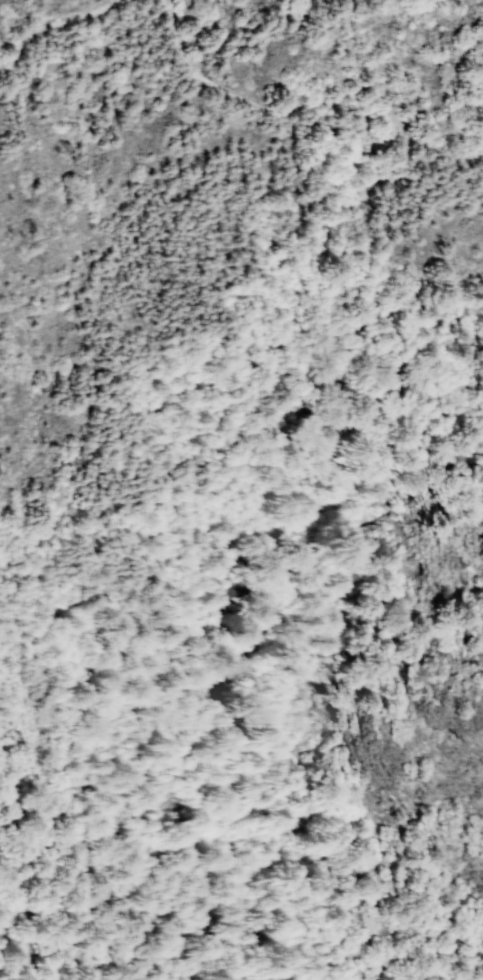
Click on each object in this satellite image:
road: (53, 22)
road: (304, 108)

